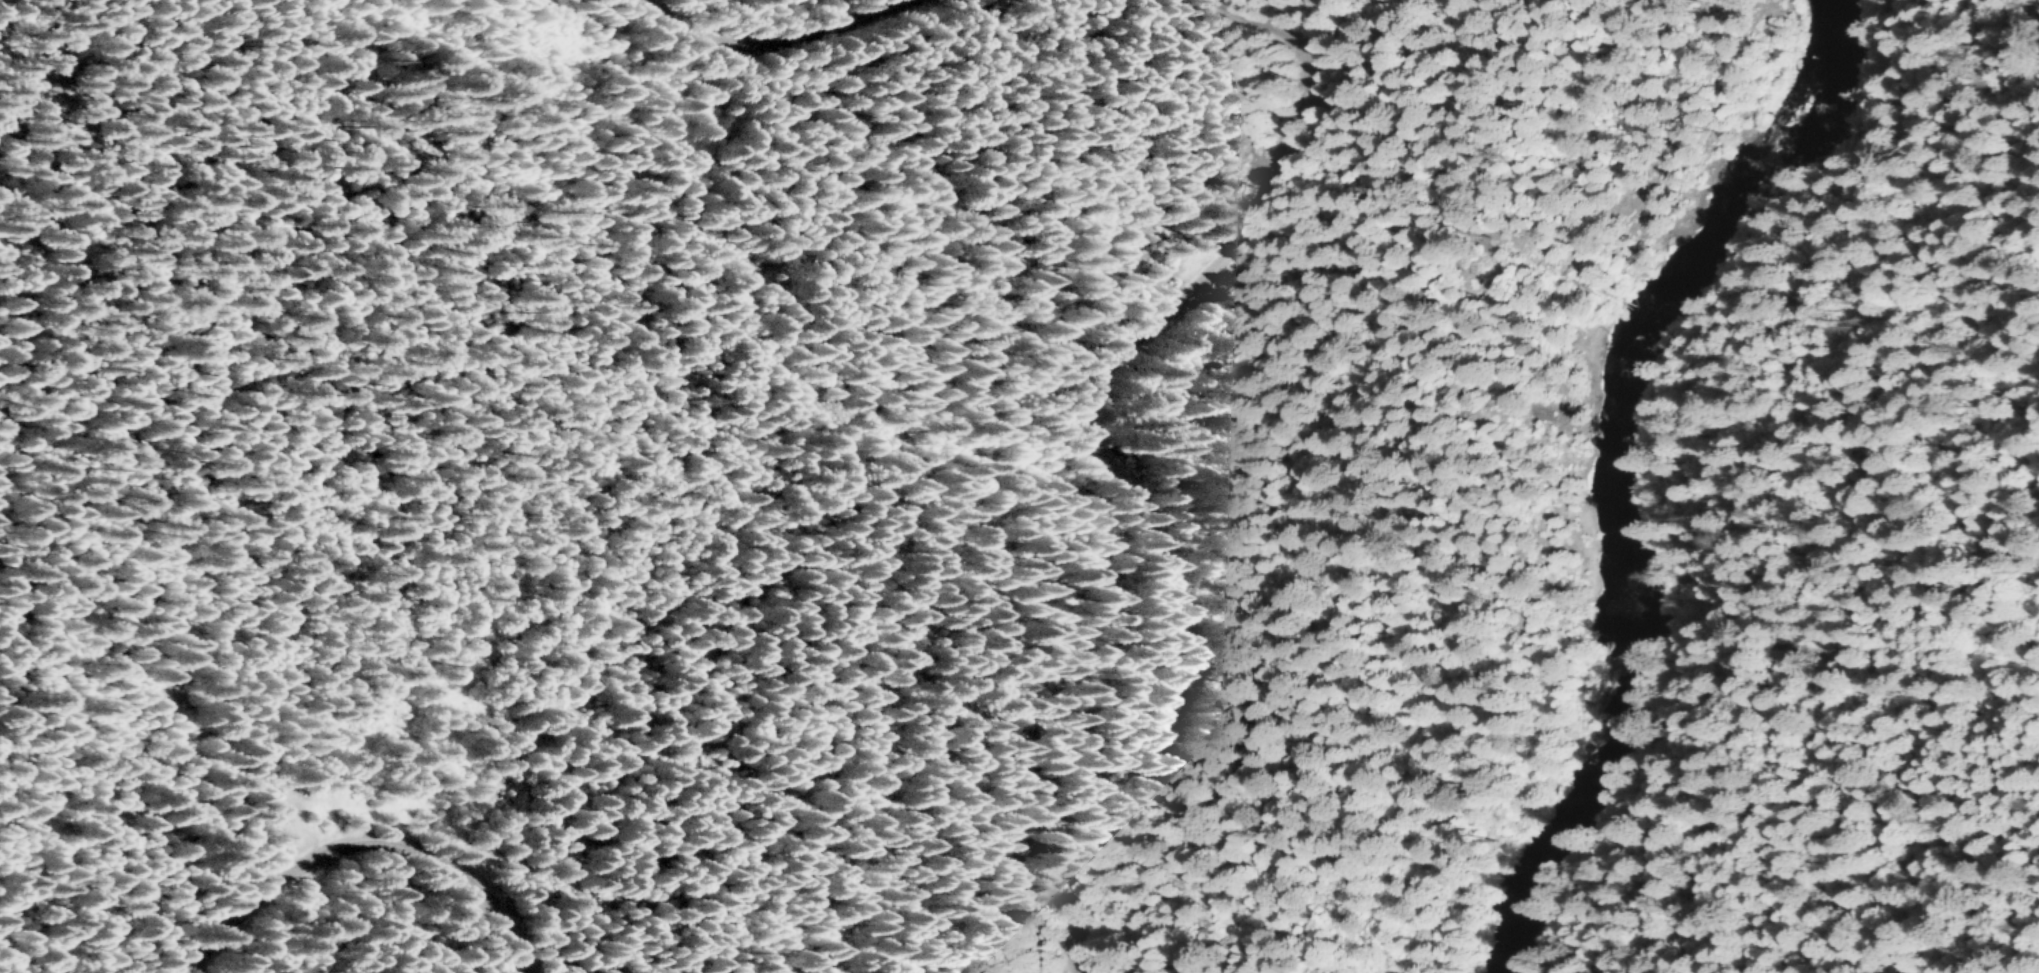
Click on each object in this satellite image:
road: (770, 38)
road: (1078, 435)
road: (1768, 459)
river: (1627, 460)
road: (354, 844)

